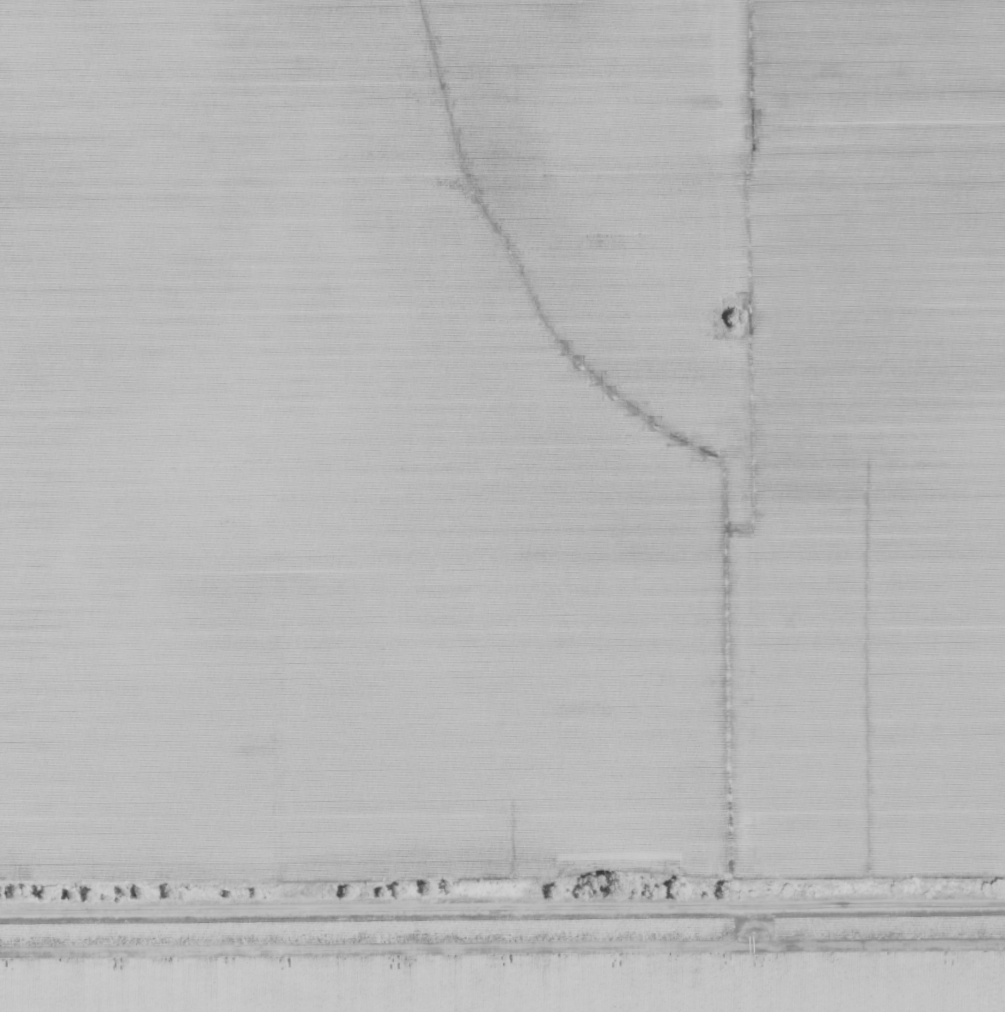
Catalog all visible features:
road: (502, 906)

